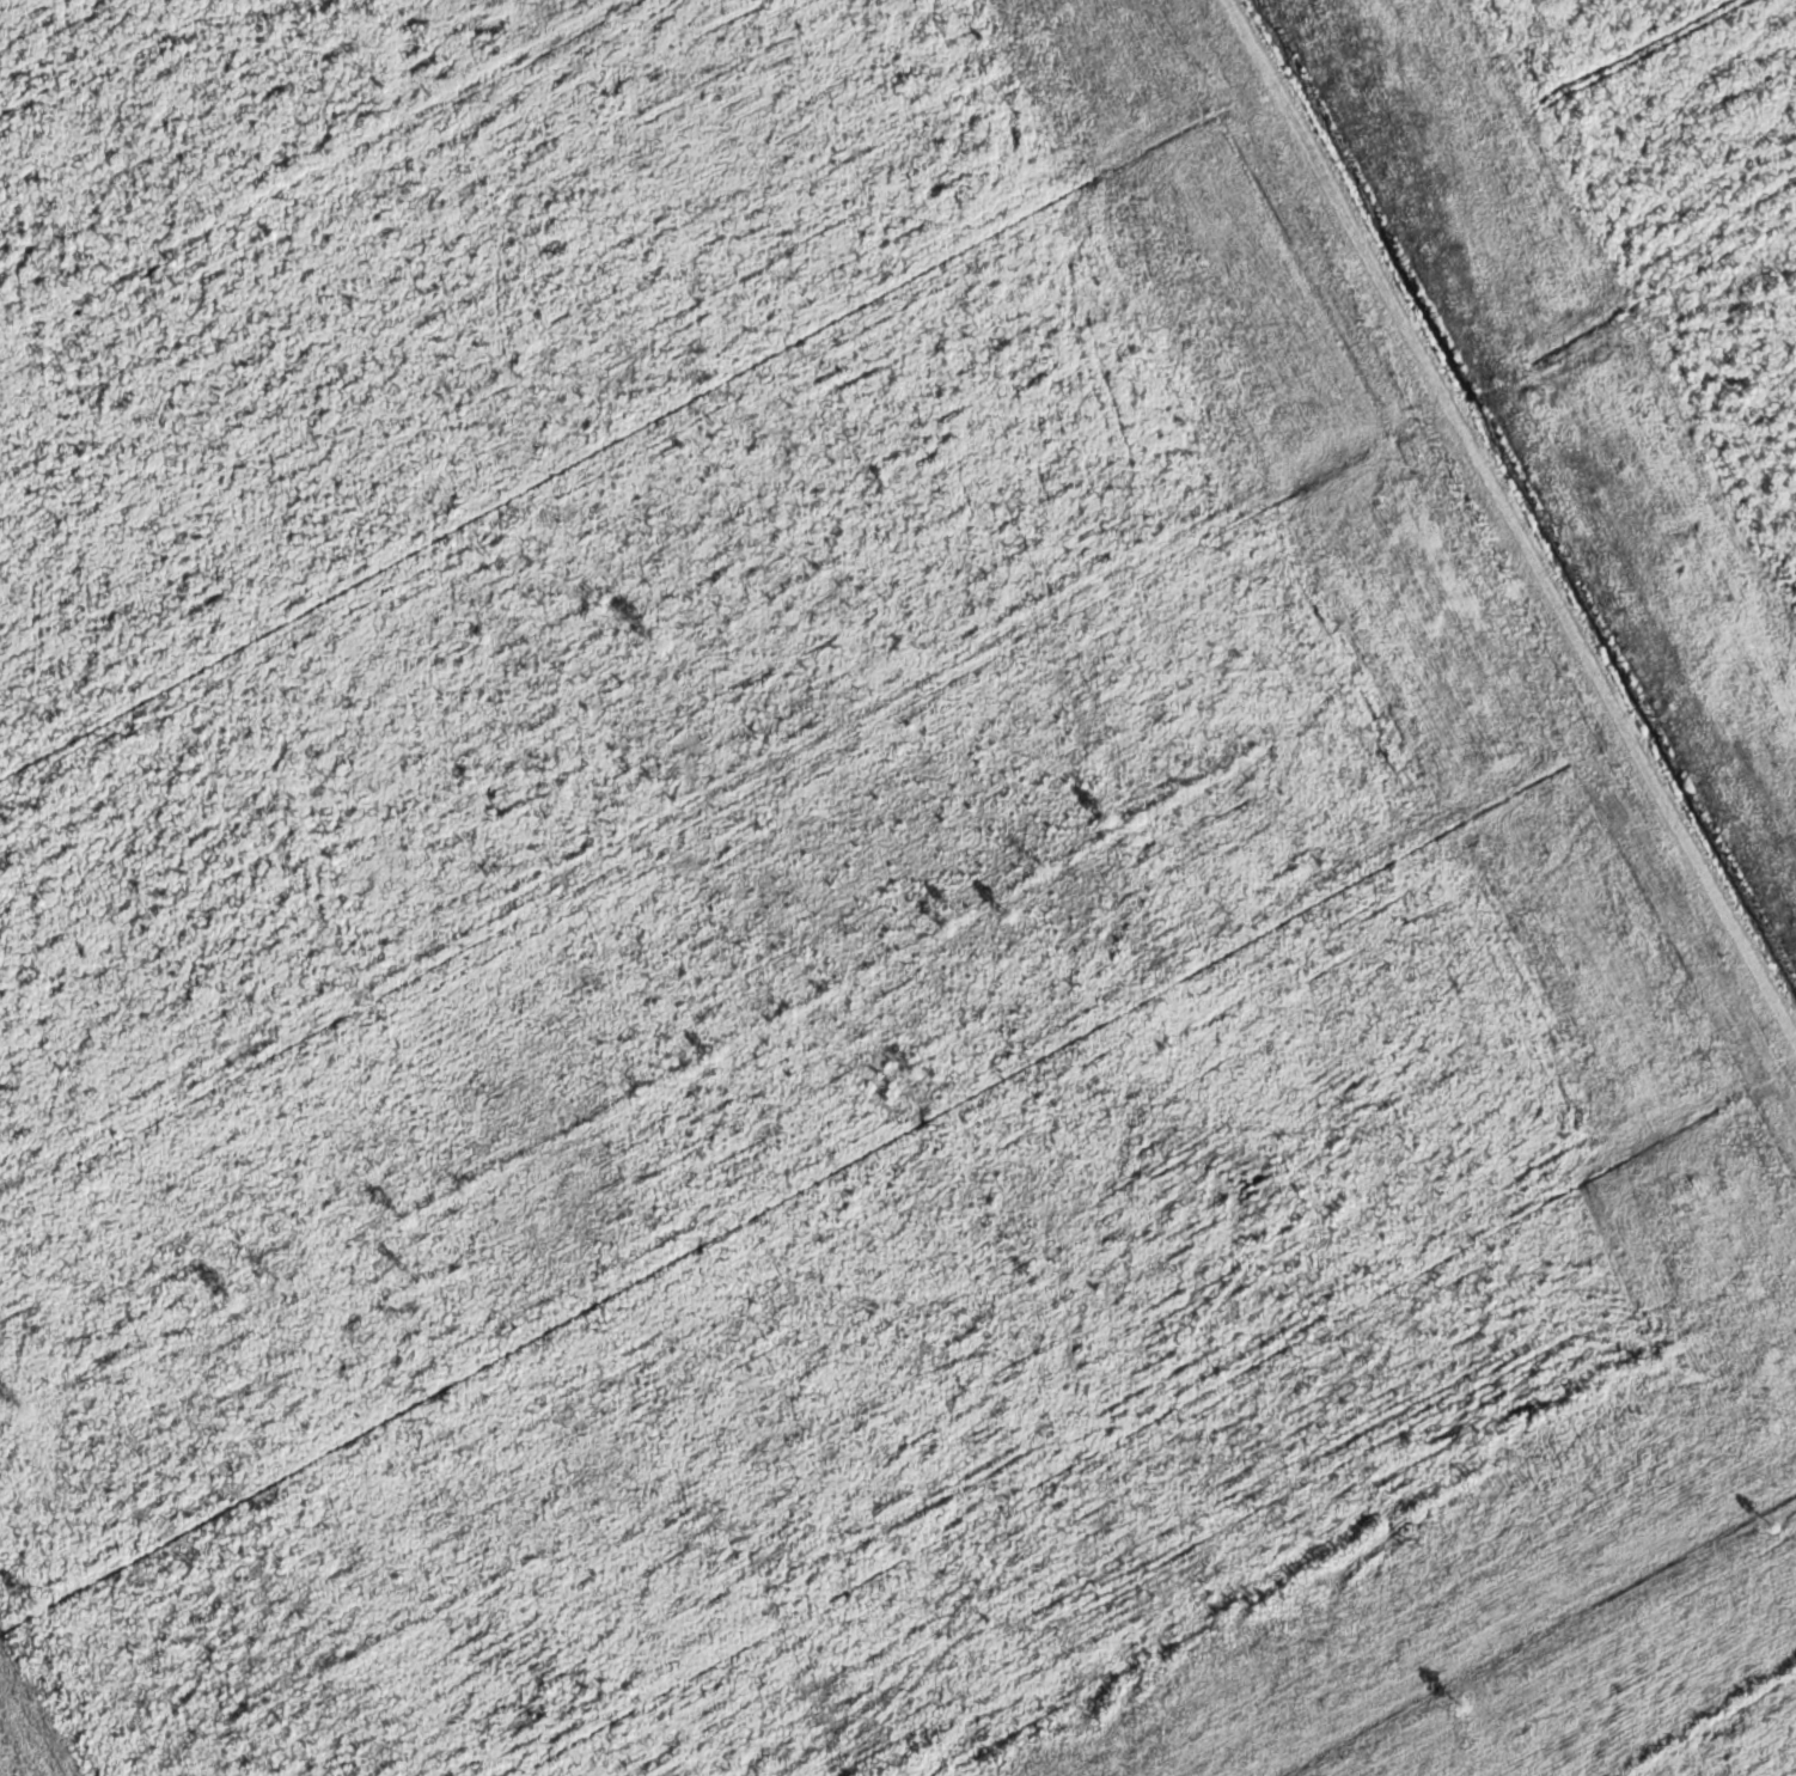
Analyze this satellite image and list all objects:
road: (1476, 570)

